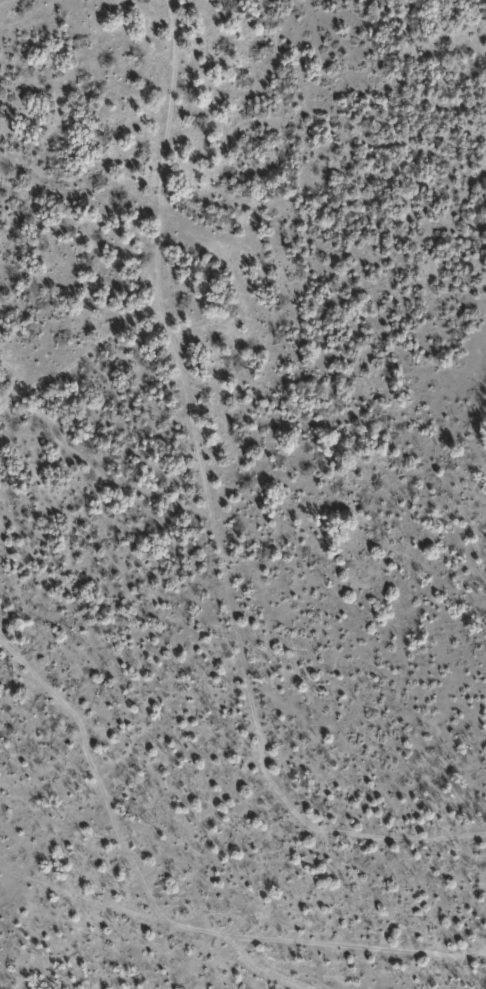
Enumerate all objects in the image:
road: (211, 499)
road: (240, 960)

